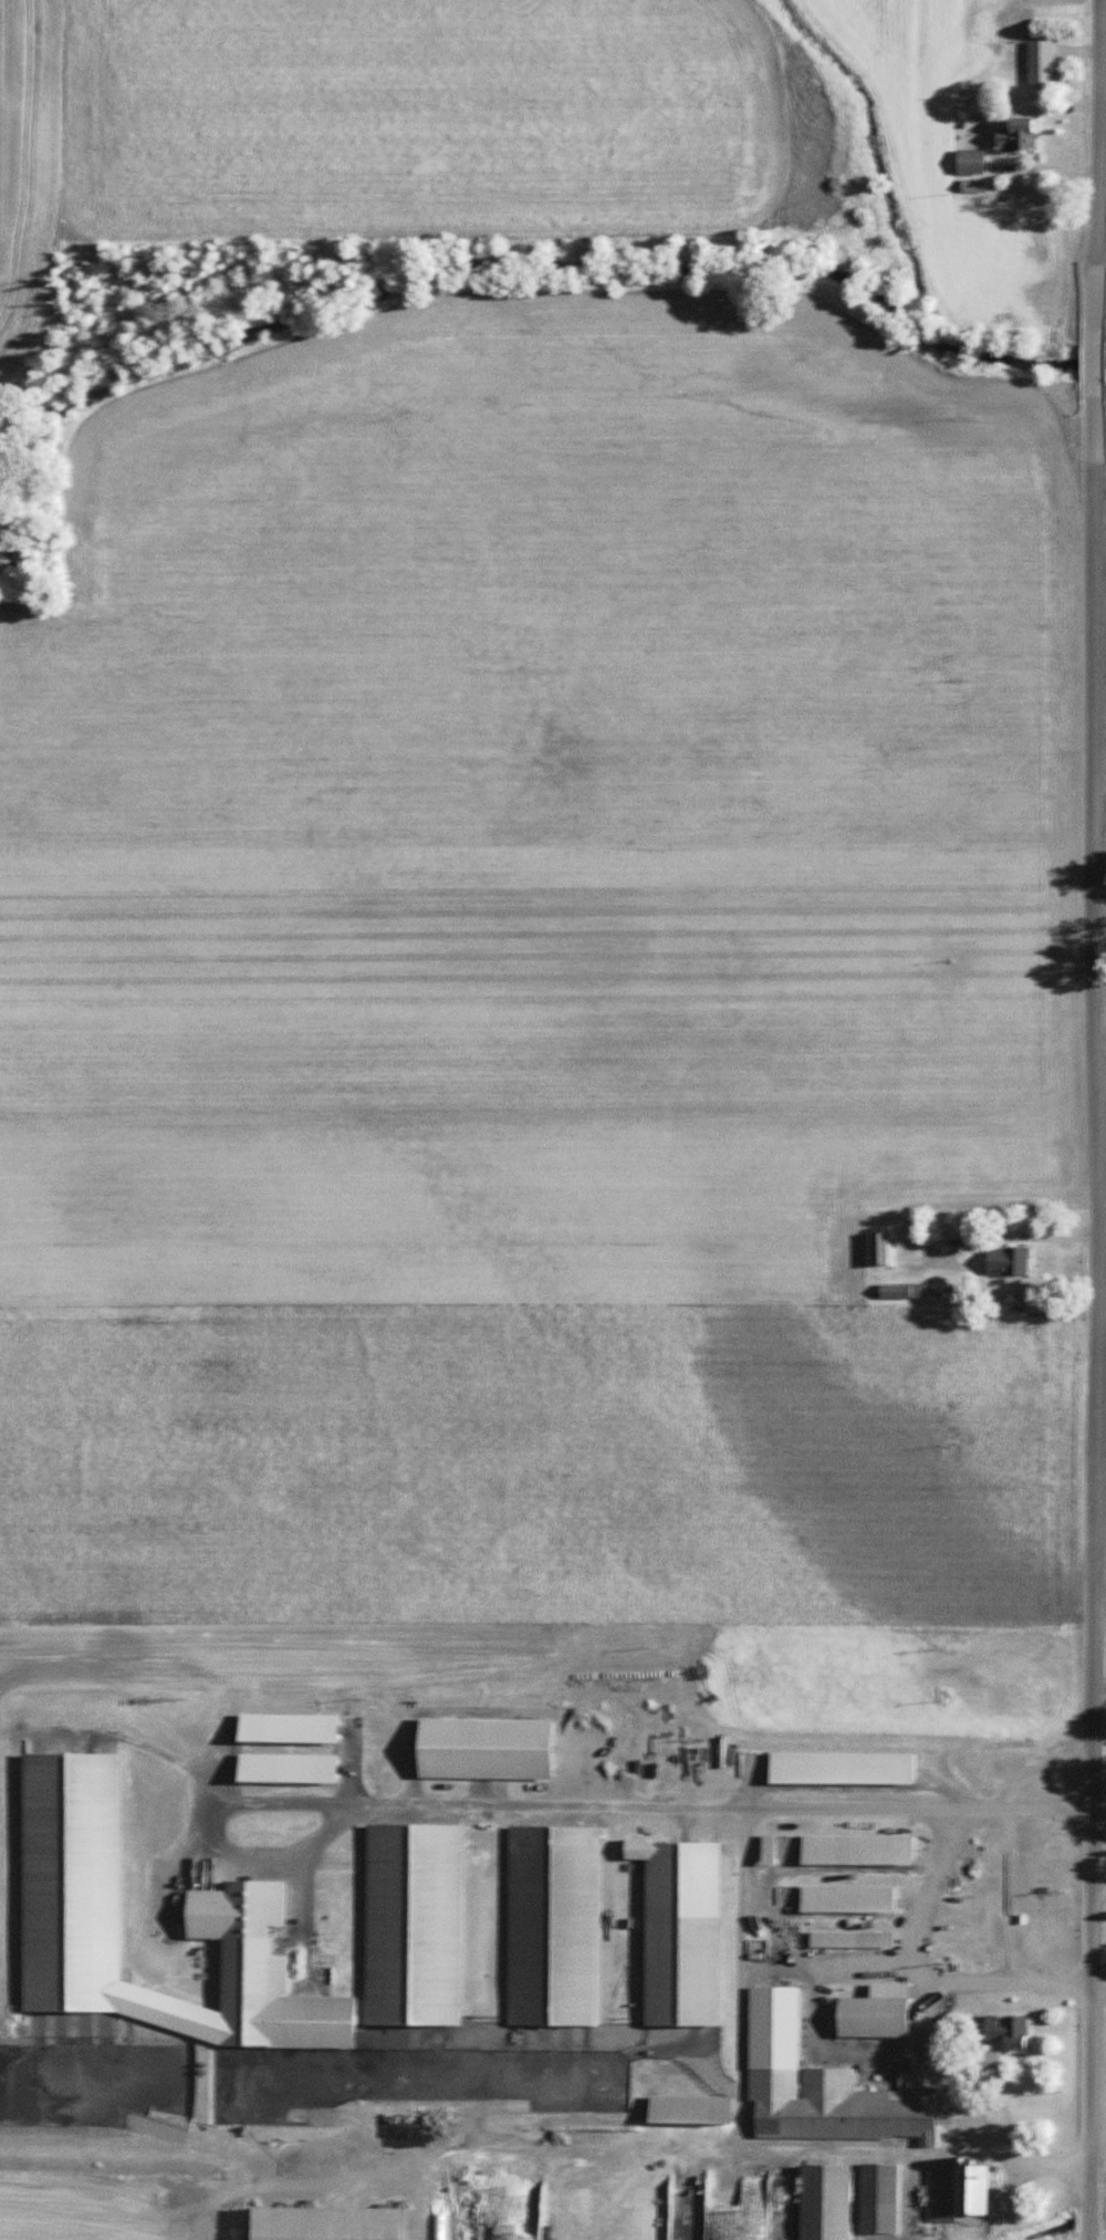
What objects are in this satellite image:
building: (1039, 64)
building: (1014, 135)
road: (1095, 152)
building: (969, 162)
river: (551, 265)
road: (1096, 357)
road: (1102, 1020)
building: (878, 1249)
building: (1005, 1261)
road: (1095, 1324)
road: (1099, 1684)
road: (564, 1804)
building: (765, 1850)
building: (855, 1851)
road: (1098, 1868)
road: (1098, 1874)
building: (845, 1900)
road: (915, 1911)
building: (411, 1926)
building: (552, 1926)
building: (678, 1932)
building: (851, 1940)
road: (1098, 1975)
building: (870, 2013)
building: (1004, 2031)
building: (851, 2102)
building: (687, 2112)
road: (749, 2138)
building: (956, 2194)
building: (877, 2199)
building: (823, 2202)

